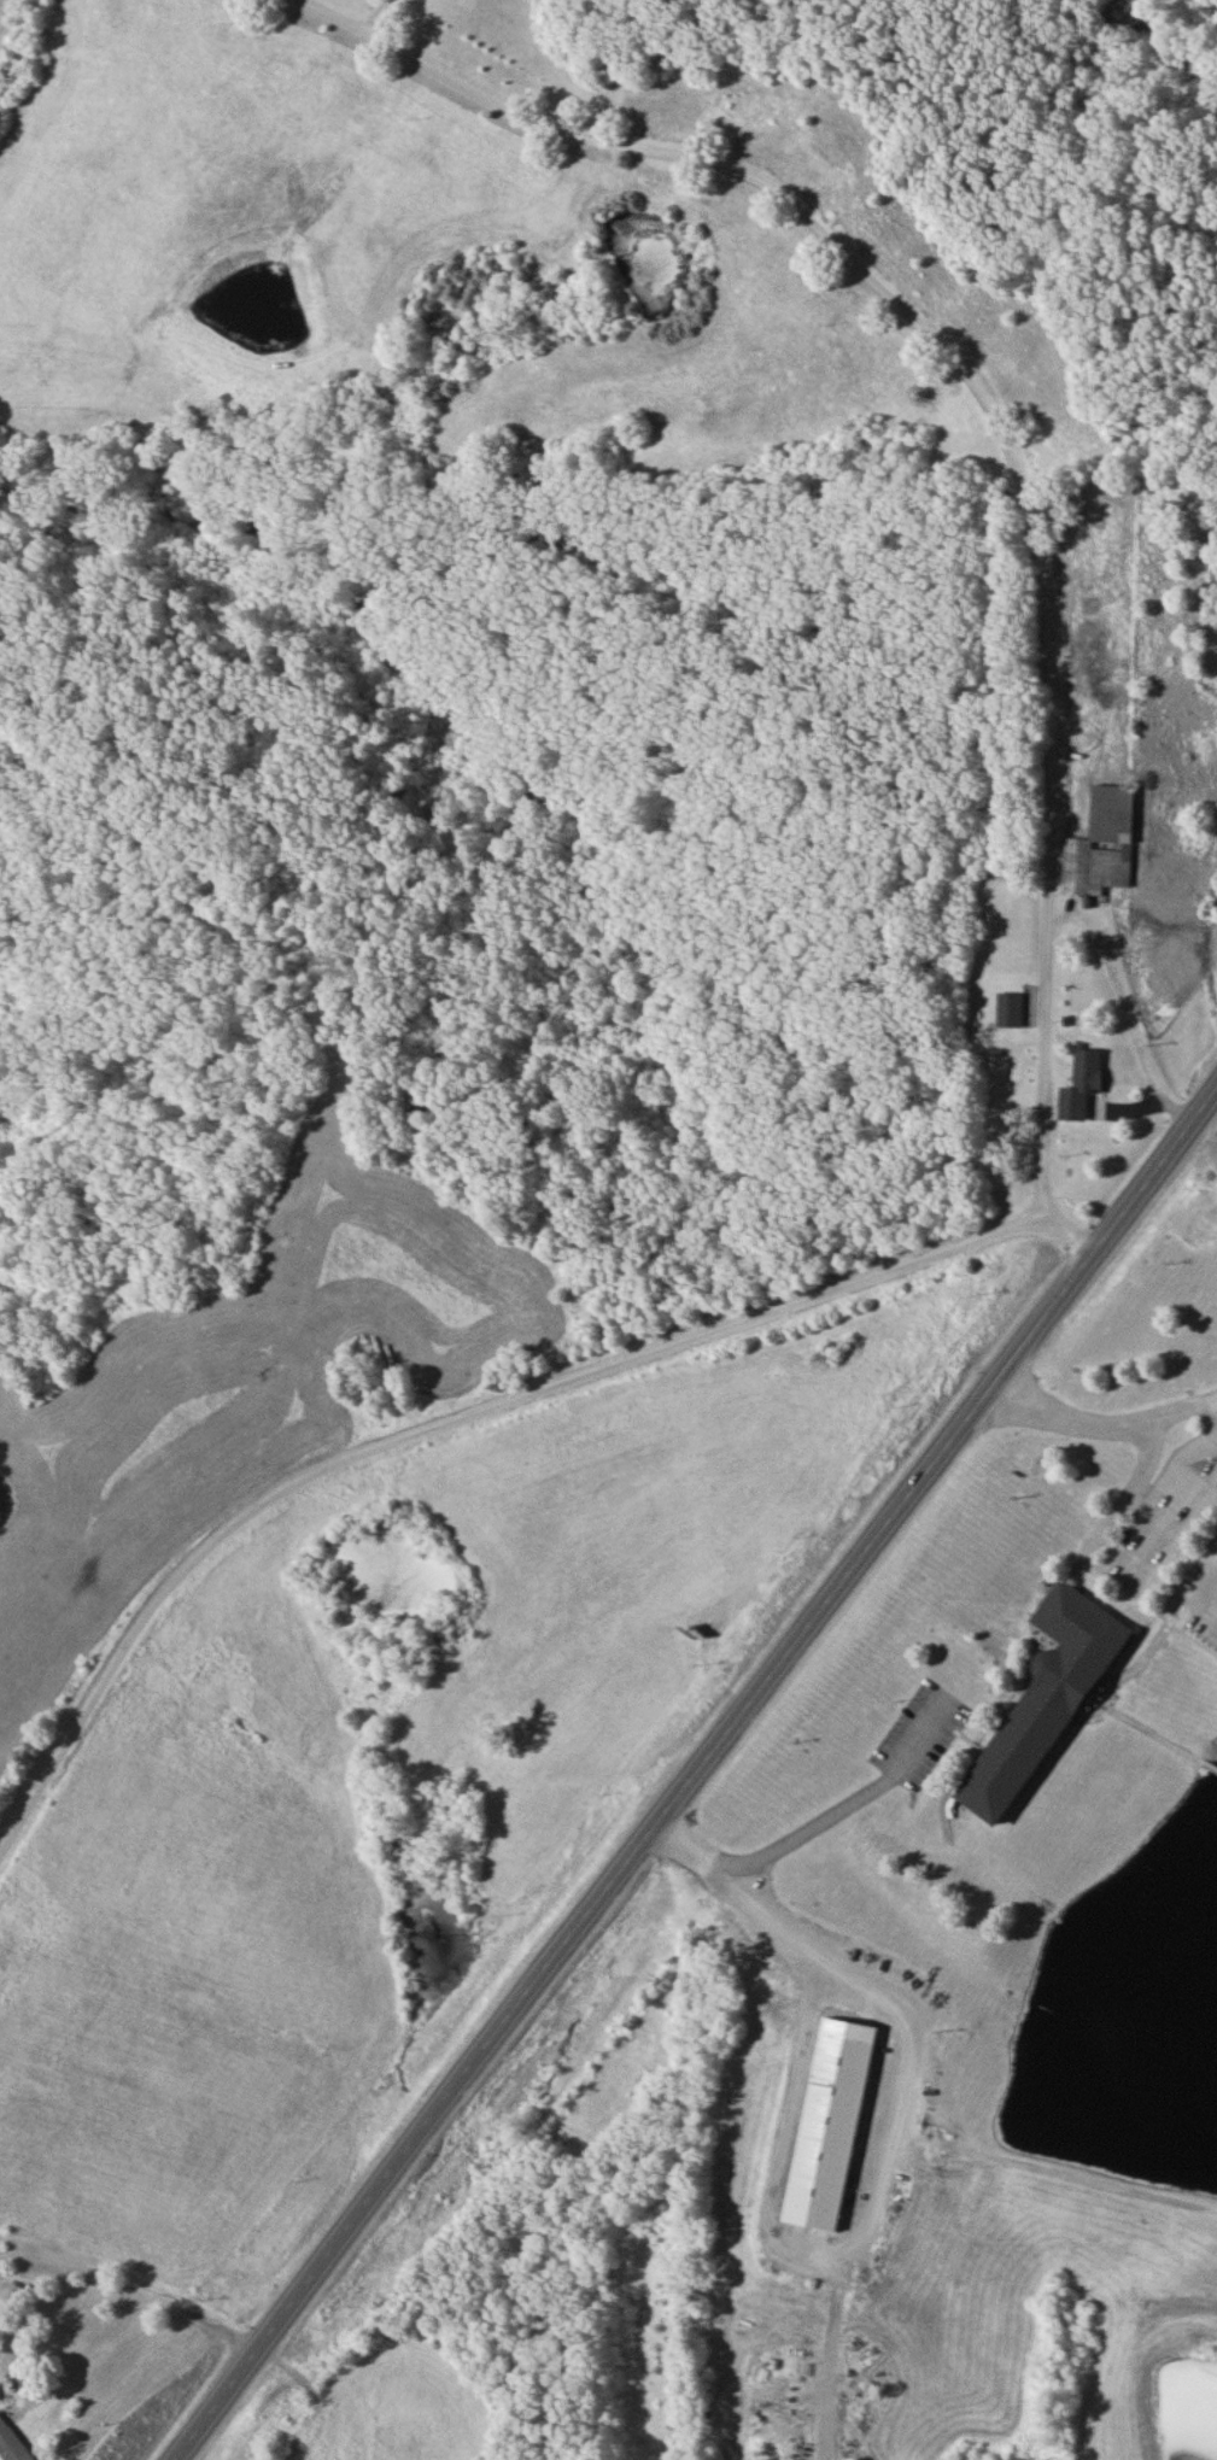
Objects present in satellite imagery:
road: (999, 435)
building: (1100, 844)
building: (1010, 1009)
building: (1079, 1084)
road: (443, 1424)
building: (1042, 1699)
road: (695, 1776)
building: (830, 2124)
building: (12, 2443)

